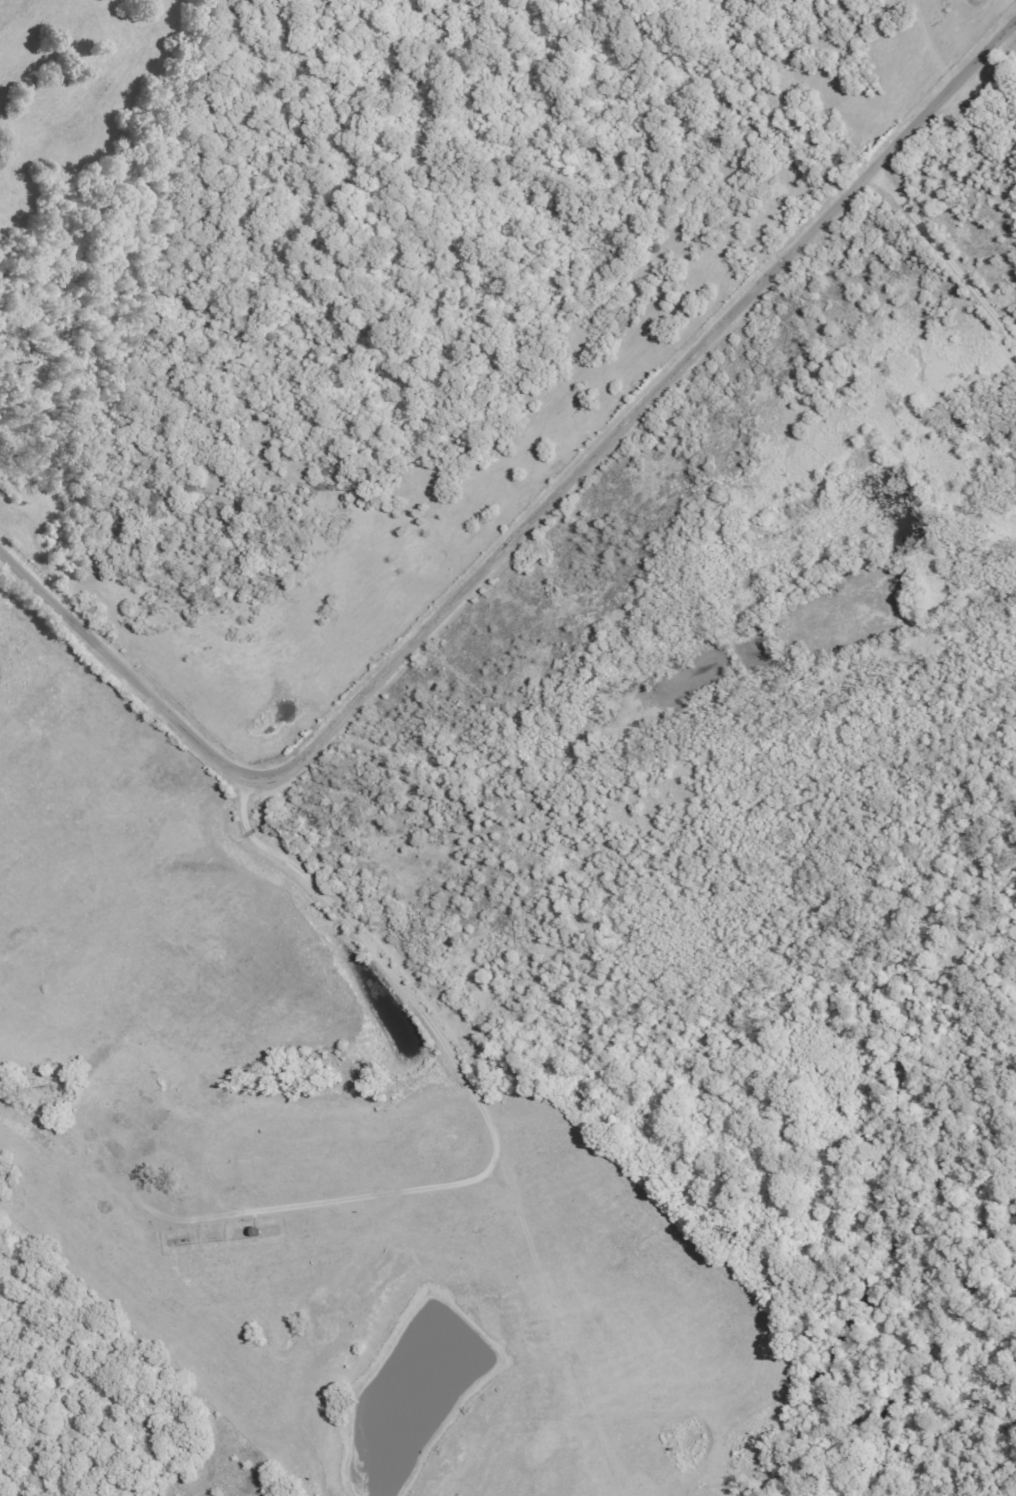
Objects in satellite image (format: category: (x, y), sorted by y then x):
road: (873, 436)
road: (524, 534)

